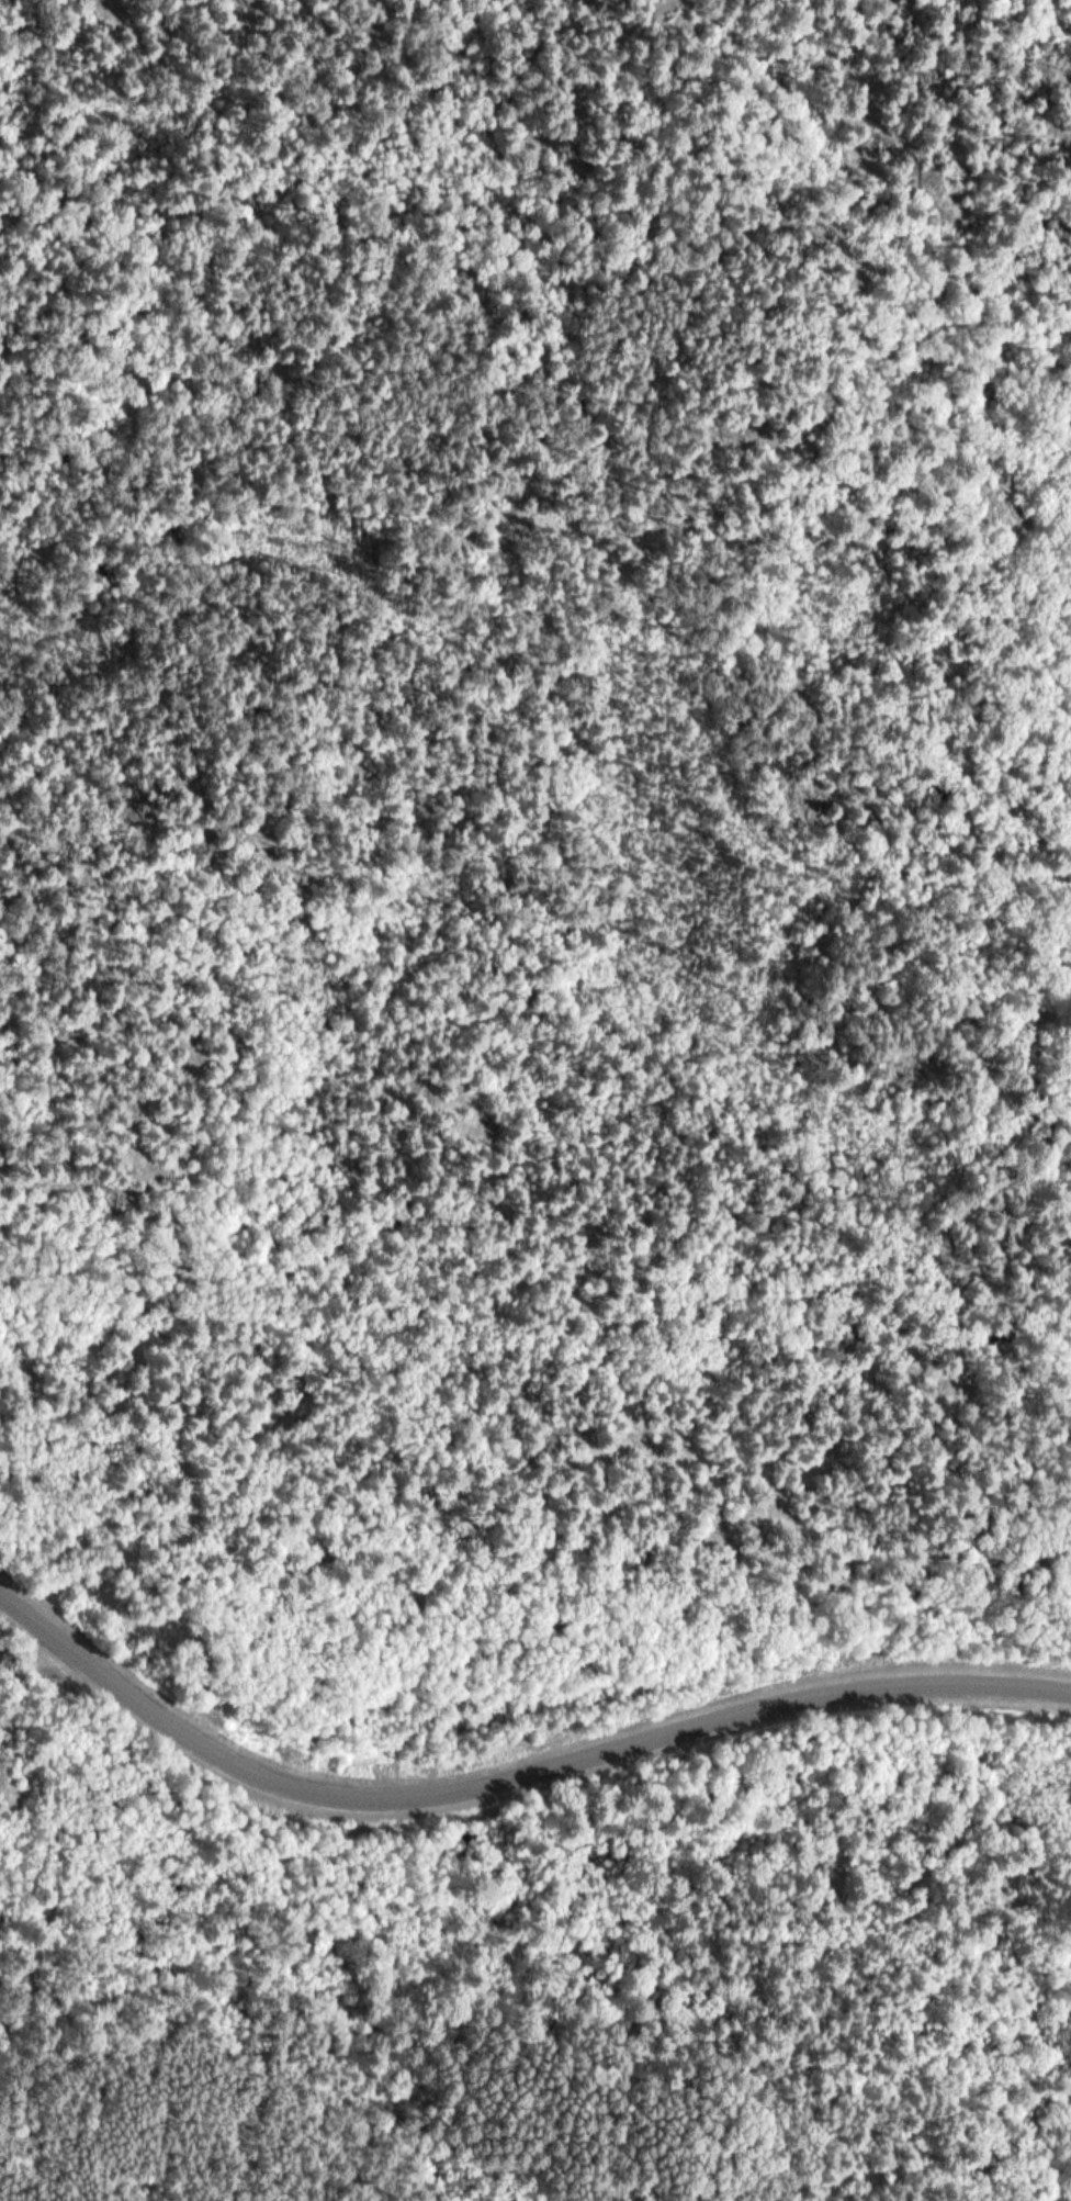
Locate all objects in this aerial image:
road: (511, 1779)
road: (1, 1955)
road: (322, 1989)
road: (50, 2135)
road: (21, 2178)

